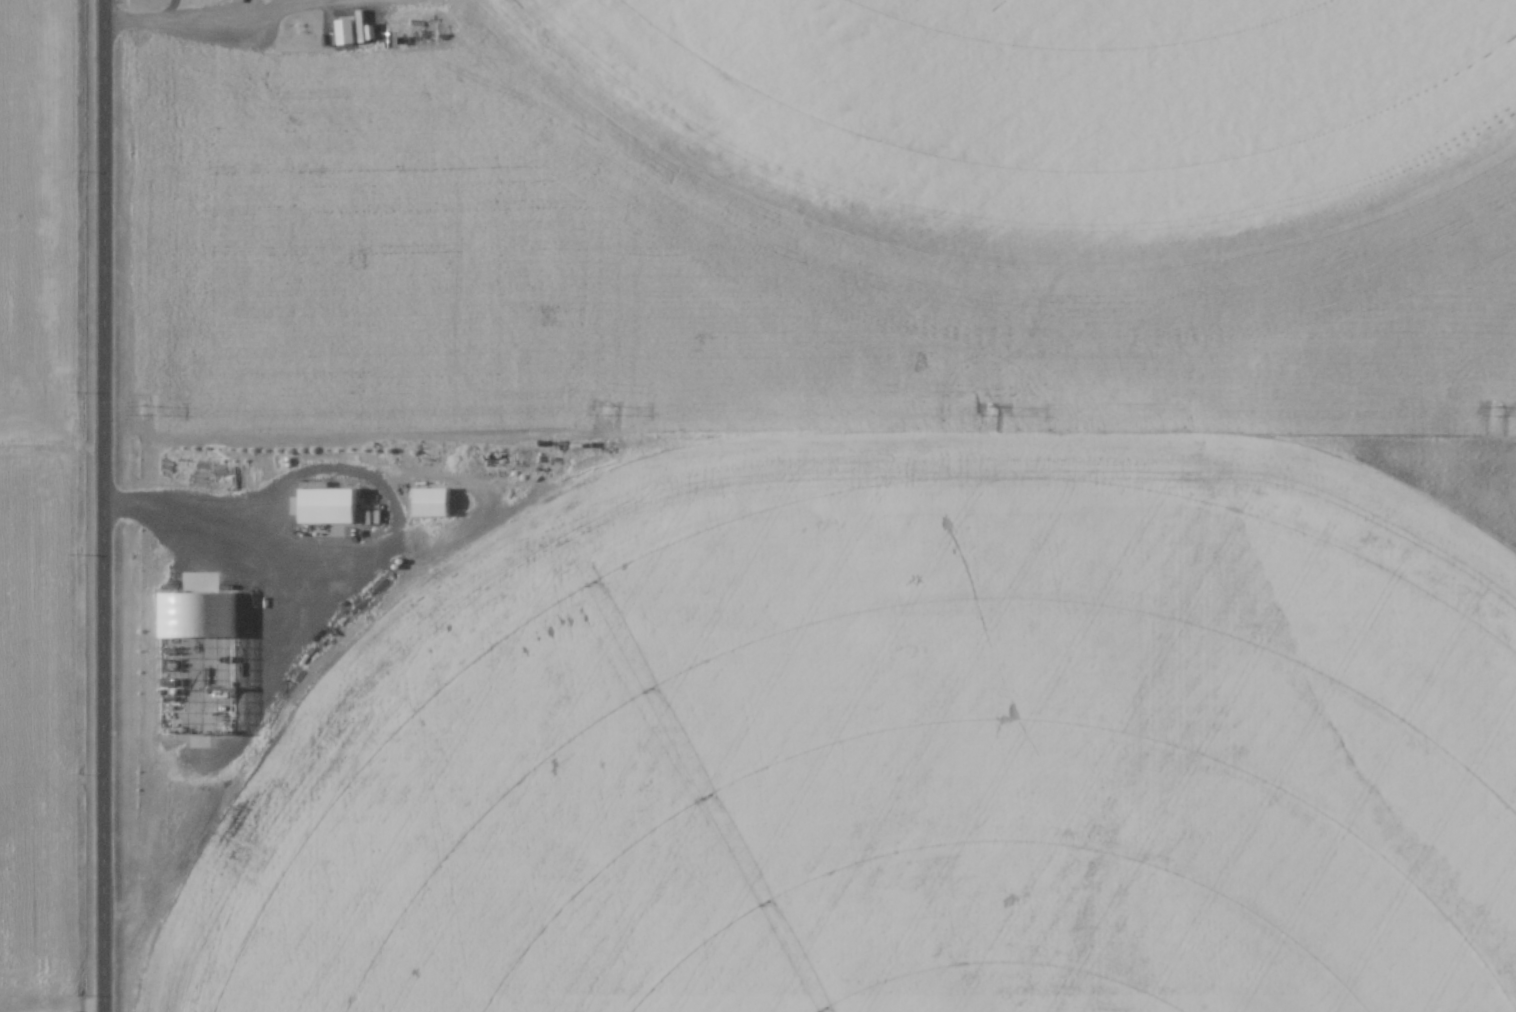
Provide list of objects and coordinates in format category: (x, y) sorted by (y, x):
road: (145, 19)
power tower: (143, 409)
power tower: (603, 409)
power tower: (1500, 411)
power tower: (991, 415)
road: (107, 506)
building: (334, 507)

